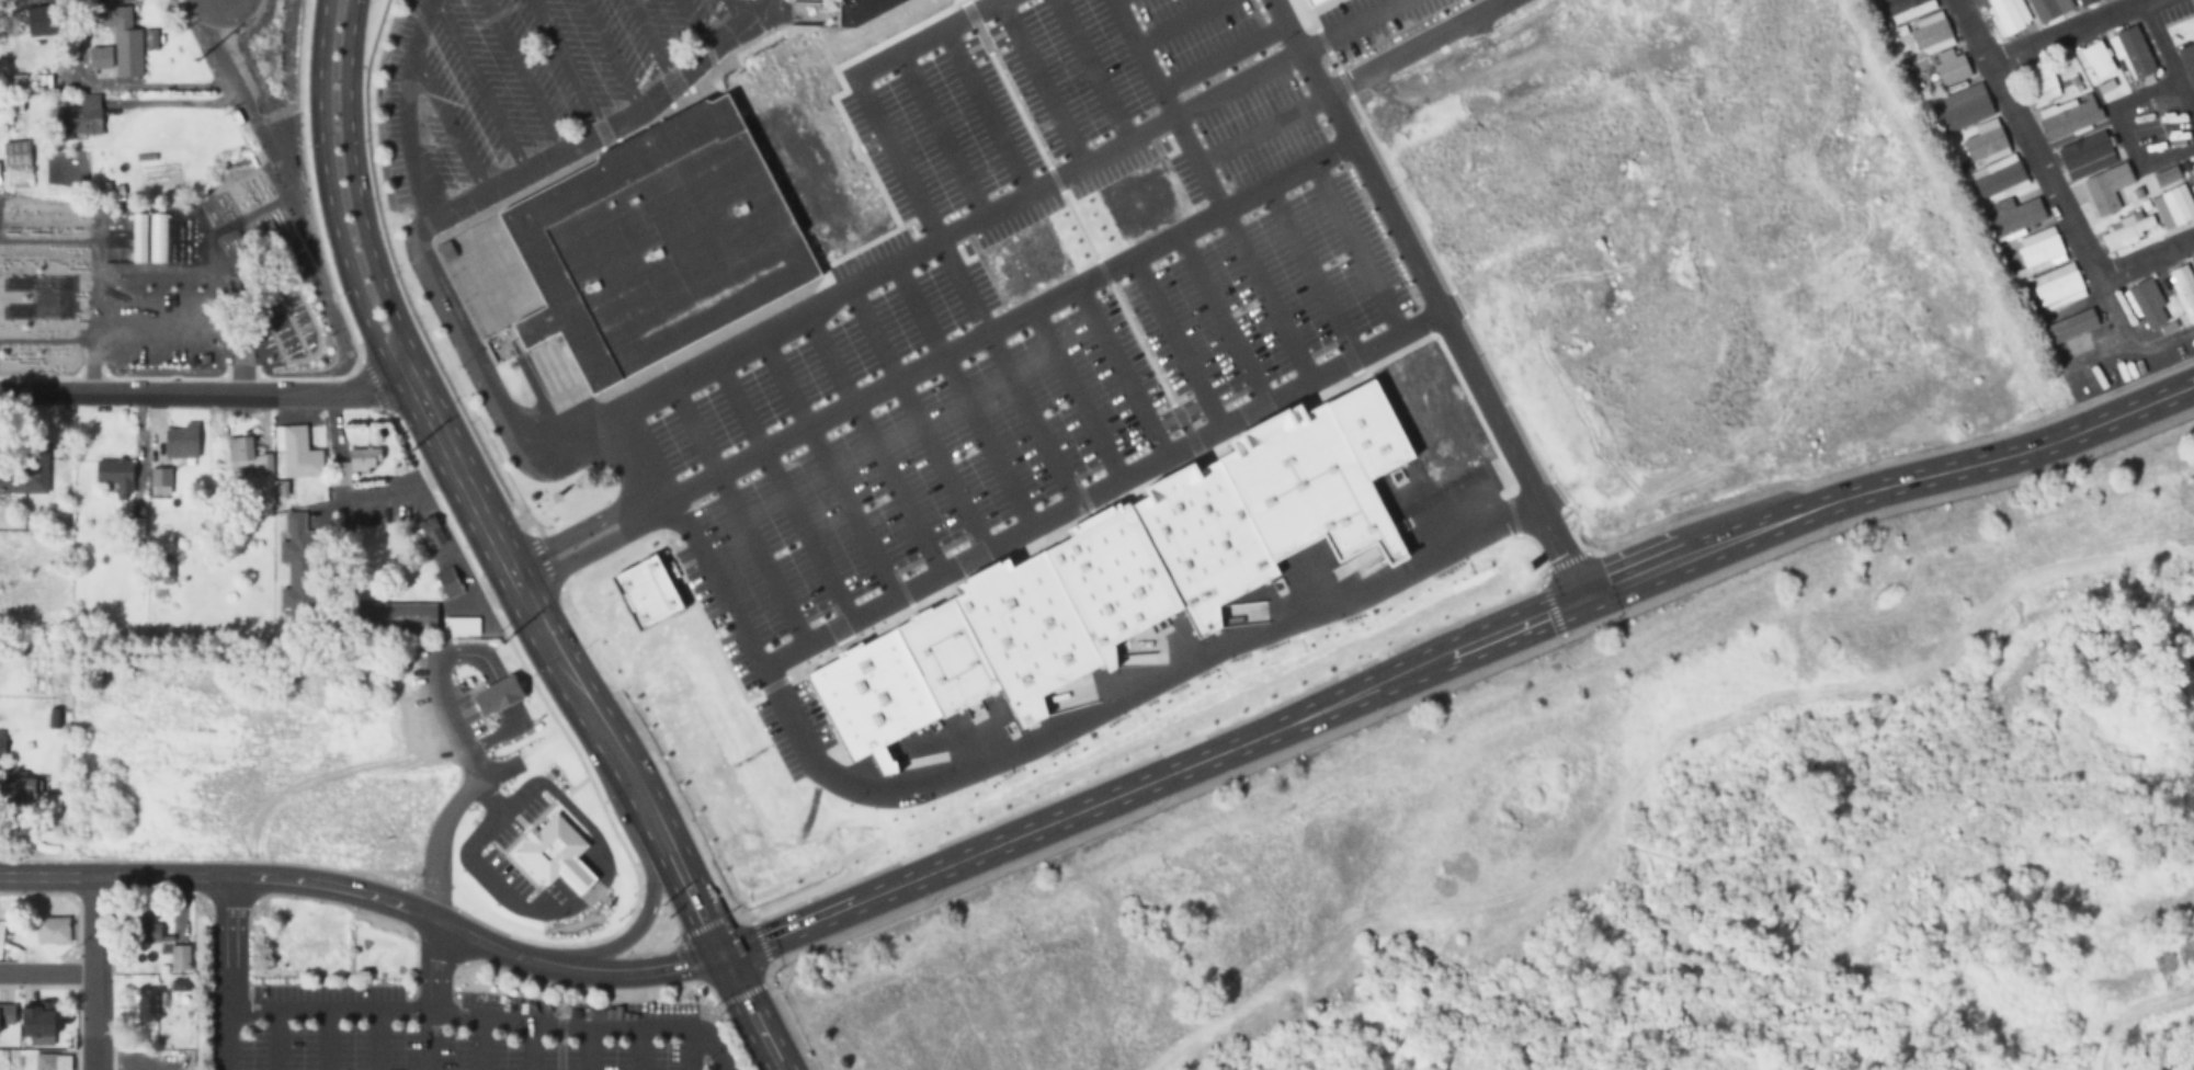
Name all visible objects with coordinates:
building: (1309, 1)
building: (2083, 1)
building: (2048, 8)
building: (861, 9)
building: (1908, 9)
road: (736, 10)
building: (2009, 15)
building: (44, 21)
road: (694, 24)
road: (1182, 24)
road: (1351, 25)
building: (1930, 32)
road: (2069, 36)
building: (123, 38)
road: (650, 41)
building: (2133, 52)
road: (611, 55)
road: (1221, 55)
building: (101, 58)
building: (2094, 58)
power tower: (196, 60)
building: (2186, 60)
road: (567, 65)
road: (1089, 69)
building: (1951, 69)
road: (522, 76)
road: (1350, 80)
road: (1038, 81)
building: (2043, 82)
building: (43, 83)
road: (477, 86)
building: (14, 93)
building: (1962, 109)
road: (407, 110)
road: (984, 110)
building: (2069, 117)
building: (76, 123)
road: (448, 123)
road: (940, 132)
road: (2021, 141)
road: (1118, 143)
building: (1985, 144)
building: (16, 153)
building: (2192, 167)
building: (2098, 174)
building: (1998, 177)
road: (359, 186)
road: (1209, 190)
road: (329, 194)
building: (2175, 204)
building: (2014, 217)
road: (427, 224)
building: (2127, 229)
building: (656, 243)
road: (1356, 249)
building: (2038, 252)
road: (2144, 261)
road: (1311, 272)
building: (2053, 289)
building: (2182, 289)
road: (1431, 300)
building: (2146, 303)
road: (1223, 319)
building: (2071, 326)
road: (991, 331)
road: (1175, 343)
road: (1123, 371)
road: (206, 394)
road: (960, 394)
road: (1075, 396)
road: (1022, 397)
road: (917, 416)
road: (871, 441)
building: (184, 443)
building: (240, 446)
building: (300, 453)
power tower: (405, 453)
building: (364, 457)
road: (827, 463)
building: (37, 465)
building: (116, 475)
building: (161, 476)
building: (13, 480)
road: (778, 488)
building: (1282, 494)
road: (736, 511)
building: (136, 530)
road: (567, 530)
building: (429, 532)
road: (691, 534)
road: (576, 553)
building: (300, 560)
building: (167, 571)
building: (447, 581)
building: (649, 590)
building: (1069, 605)
building: (396, 616)
building: (461, 625)
power tower: (501, 640)
building: (943, 654)
road: (2174, 654)
road: (1455, 657)
road: (560, 667)
road: (1422, 692)
building: (497, 693)
building: (869, 693)
road: (1127, 693)
building: (2, 742)
building: (18, 793)
road: (445, 823)
park: (1637, 830)
road: (1653, 836)
building: (556, 854)
road: (370, 895)
road: (645, 913)
power tower: (669, 915)
building: (52, 929)
building: (140, 930)
building: (2173, 954)
traffic signals: (728, 959)
road: (227, 971)
road: (96, 972)
road: (431, 995)
building: (147, 1005)
building: (7, 1013)
road: (757, 1014)
road: (489, 1016)
road: (2133, 1017)
building: (36, 1020)
road: (275, 1039)
road: (327, 1039)
road: (377, 1039)
road: (479, 1043)
road: (528, 1047)
road: (590, 1049)
road: (638, 1049)
road: (687, 1049)
building: (47, 1061)

